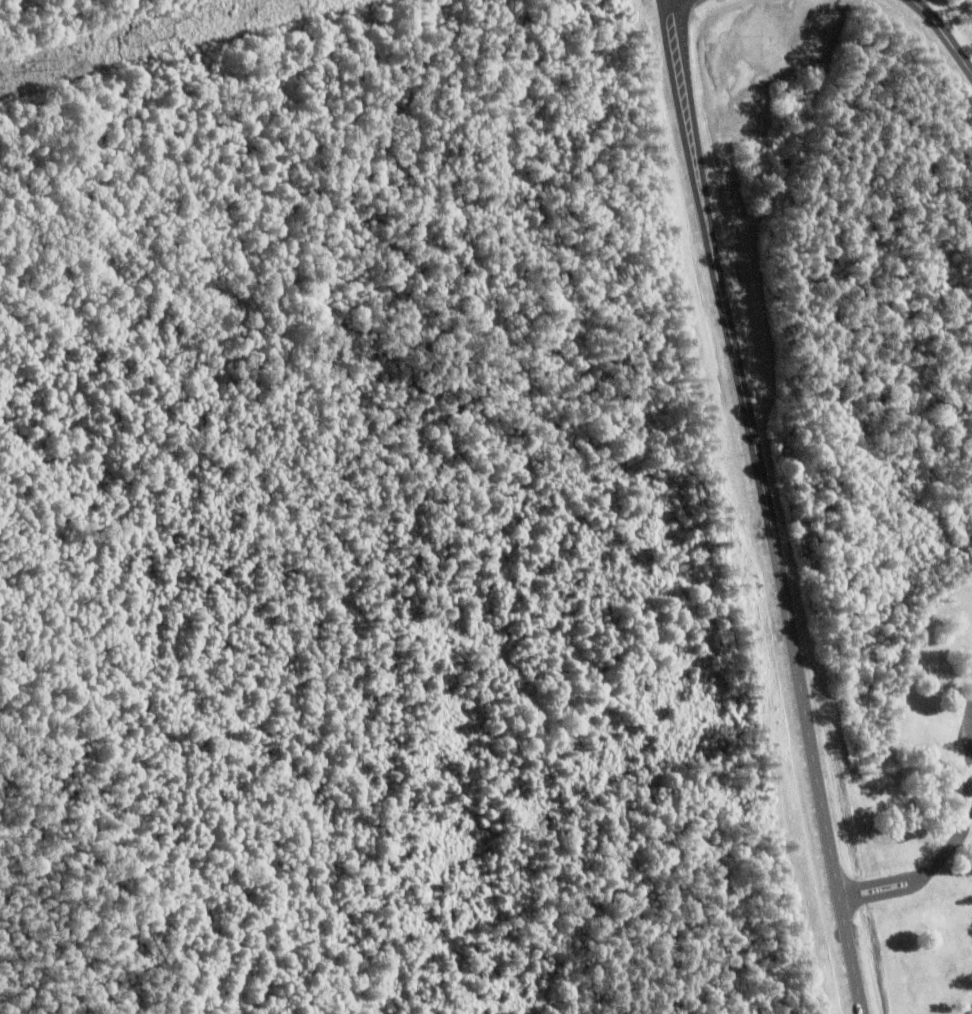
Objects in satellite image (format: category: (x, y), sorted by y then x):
road: (944, 32)
road: (719, 261)
road: (815, 768)
road: (958, 835)
road: (911, 883)

